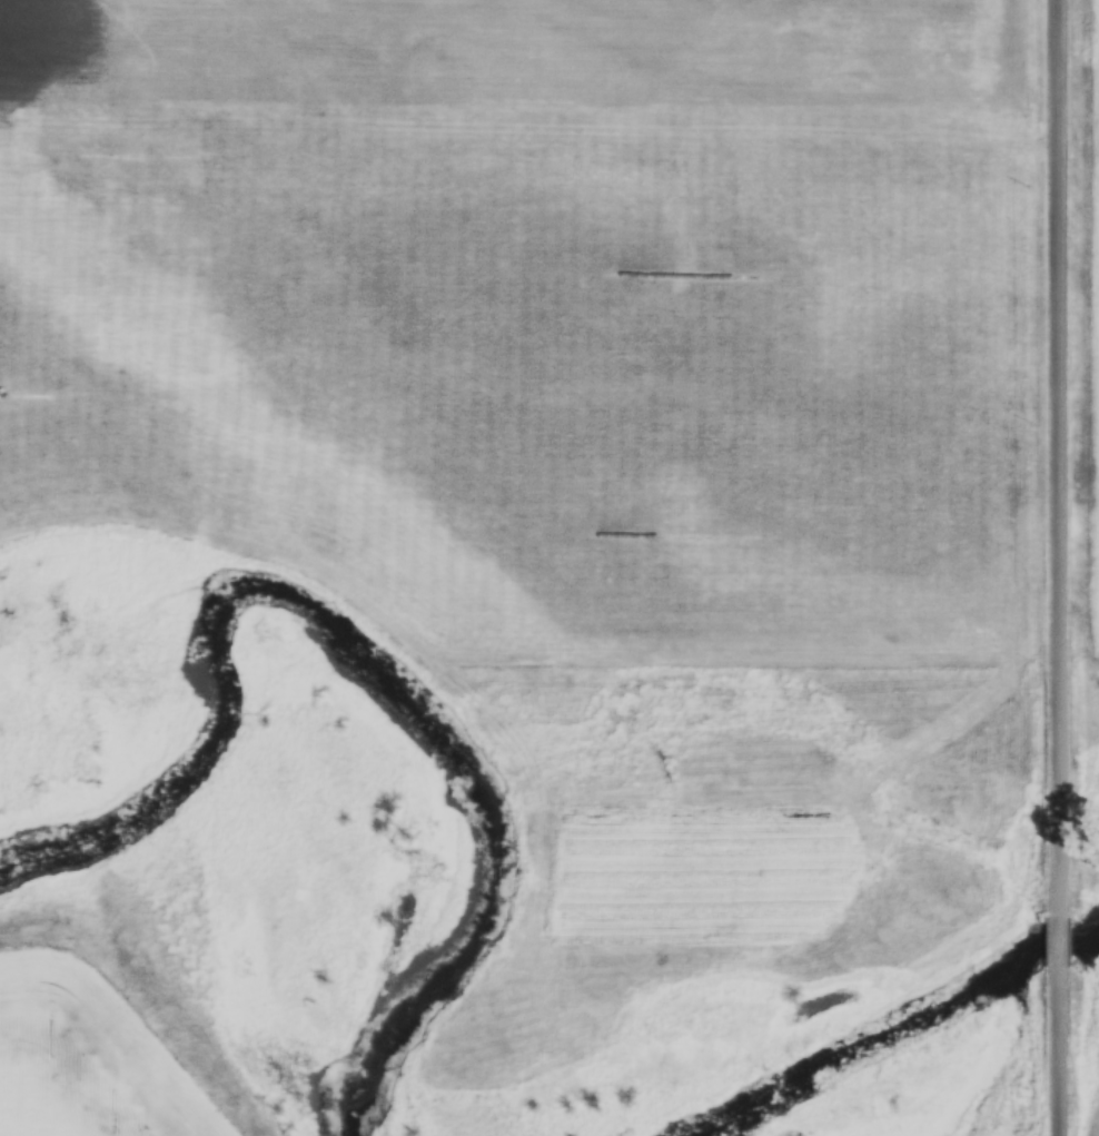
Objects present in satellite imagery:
road: (1055, 460)
river: (363, 674)
road: (1055, 936)
river: (897, 1012)
road: (1055, 1044)

